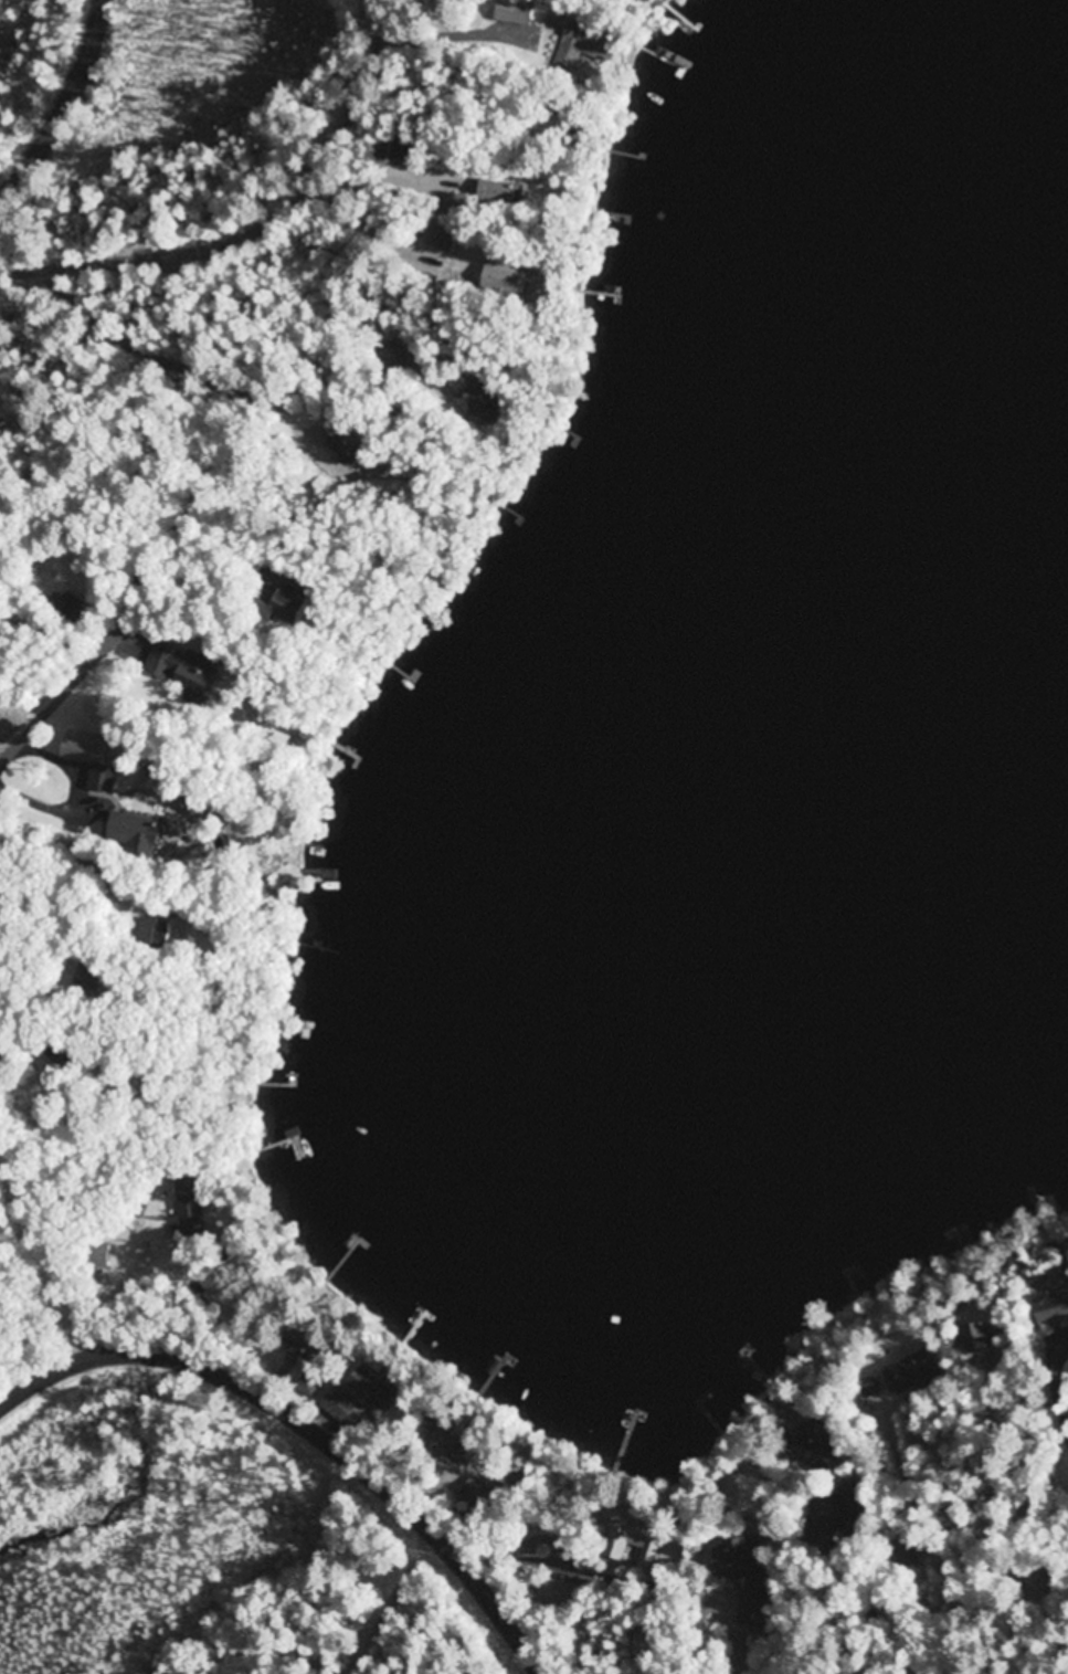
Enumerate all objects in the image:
building: (518, 12)
building: (586, 46)
road: (65, 108)
building: (394, 156)
building: (500, 193)
road: (258, 225)
building: (440, 239)
building: (508, 277)
road: (165, 359)
building: (489, 398)
building: (355, 449)
road: (233, 546)
building: (299, 610)
building: (120, 642)
road: (131, 644)
road: (106, 646)
building: (187, 672)
building: (95, 760)
road: (71, 764)
road: (51, 810)
building: (140, 836)
road: (85, 847)
building: (162, 933)
building: (89, 979)
road: (2, 1049)
building: (191, 1206)
building: (962, 1235)
building: (1056, 1308)
building: (985, 1336)
building: (914, 1375)
road: (1059, 1382)
building: (308, 1385)
building: (377, 1387)
road: (305, 1432)
building: (452, 1439)
building: (814, 1449)
road: (997, 1517)
road: (938, 1534)
building: (630, 1537)
road: (525, 1545)
building: (902, 1555)
building: (746, 1577)
road: (865, 1591)
road: (737, 1632)

